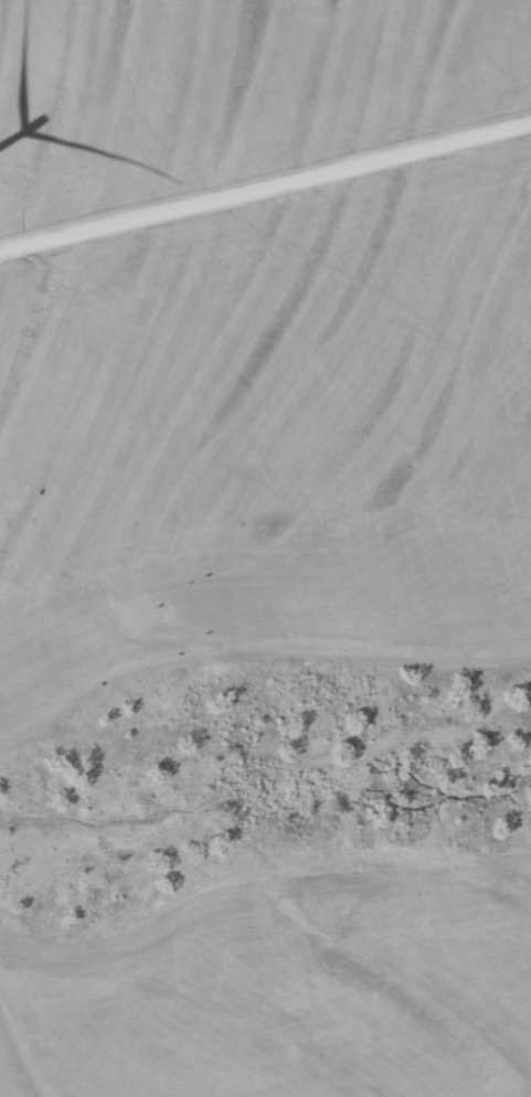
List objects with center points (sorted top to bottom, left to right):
road: (264, 185)
road: (68, 247)
road: (265, 586)

